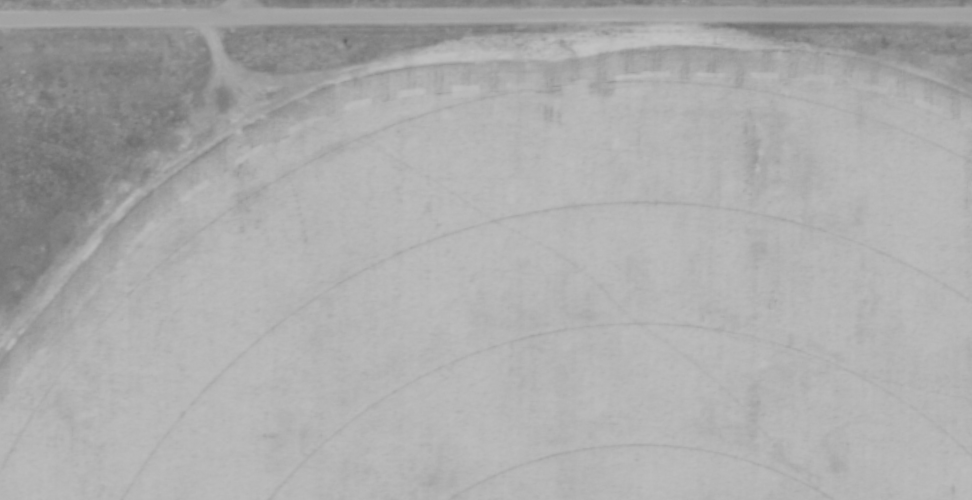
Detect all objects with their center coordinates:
road: (234, 8)
road: (485, 14)

